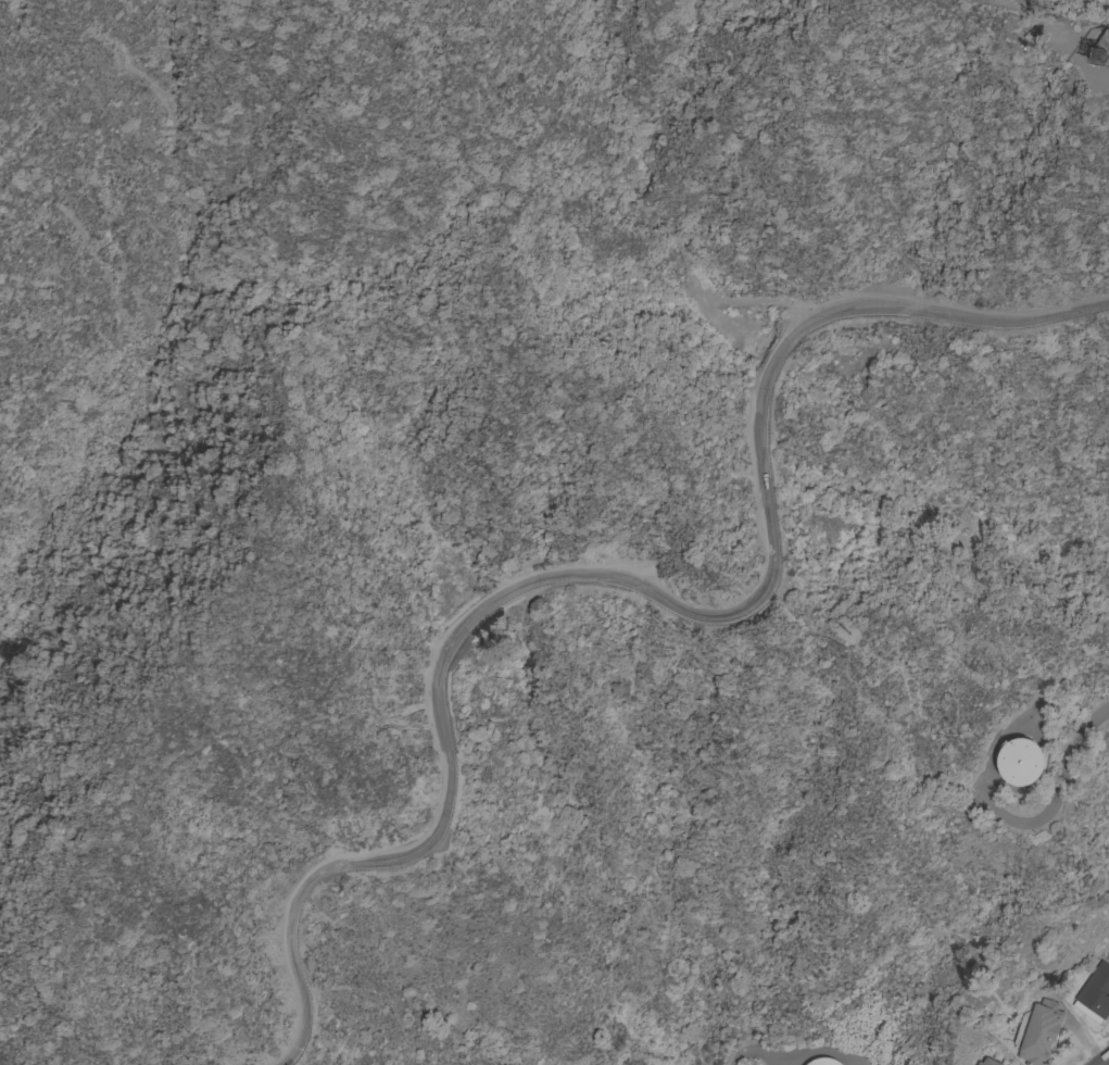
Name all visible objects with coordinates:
road: (1057, 25)
building: (1107, 46)
road: (632, 589)
building: (1020, 762)
building: (1095, 994)
building: (1039, 1035)
building: (823, 1062)
road: (1107, 1063)

